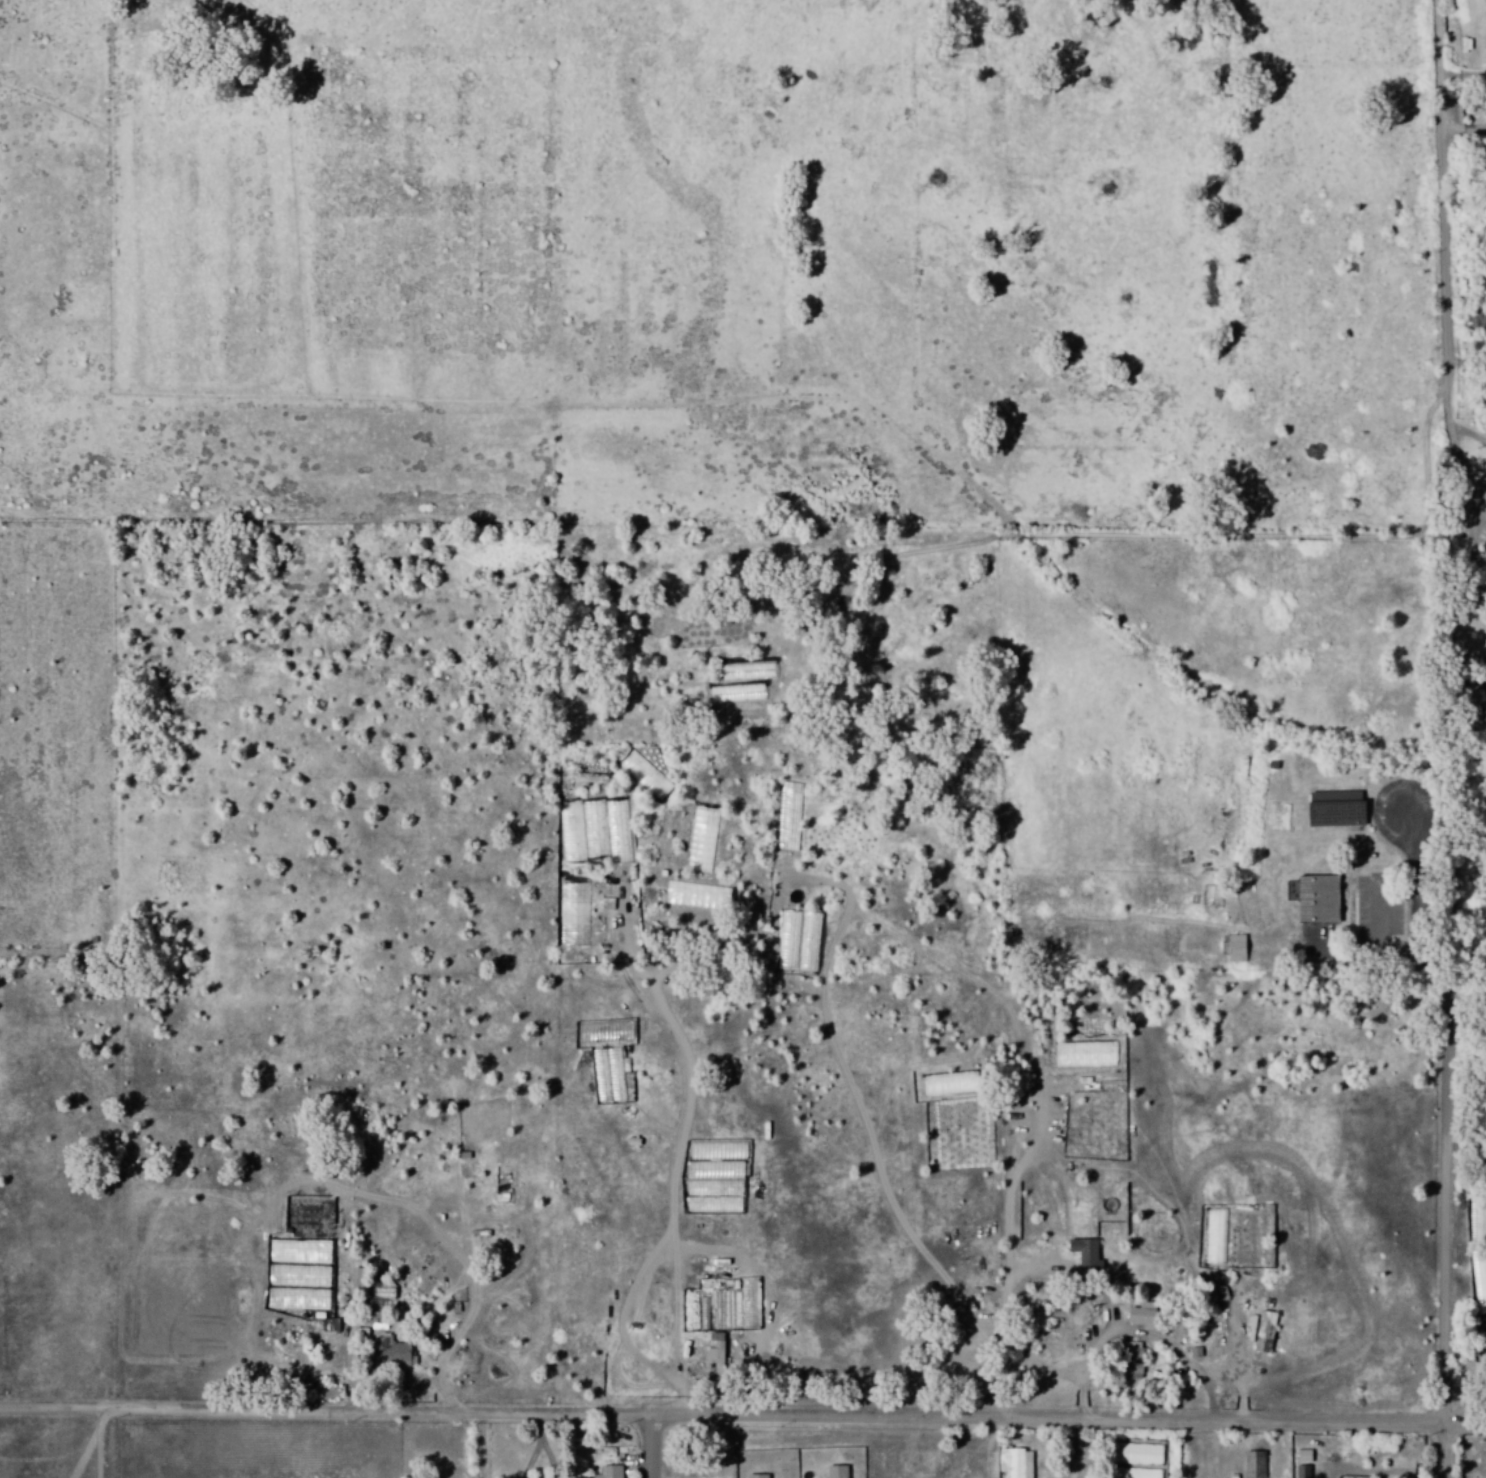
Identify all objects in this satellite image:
road: (1450, 192)
building: (1474, 320)
road: (1459, 444)
road: (1426, 618)
building: (1462, 699)
building: (1331, 808)
building: (1209, 896)
building: (1312, 899)
building: (1232, 949)
building: (608, 1073)
road: (1450, 1224)
building: (1087, 1252)
building: (358, 1279)
building: (380, 1296)
building: (1145, 1315)
building: (378, 1321)
building: (1265, 1333)
building: (397, 1351)
building: (716, 1357)
road: (743, 1411)
road: (660, 1444)
road: (1451, 1449)
building: (1299, 1456)
building: (1014, 1463)
building: (1254, 1464)
building: (1299, 1471)
building: (610, 1472)
building: (837, 1472)
building: (758, 1476)

